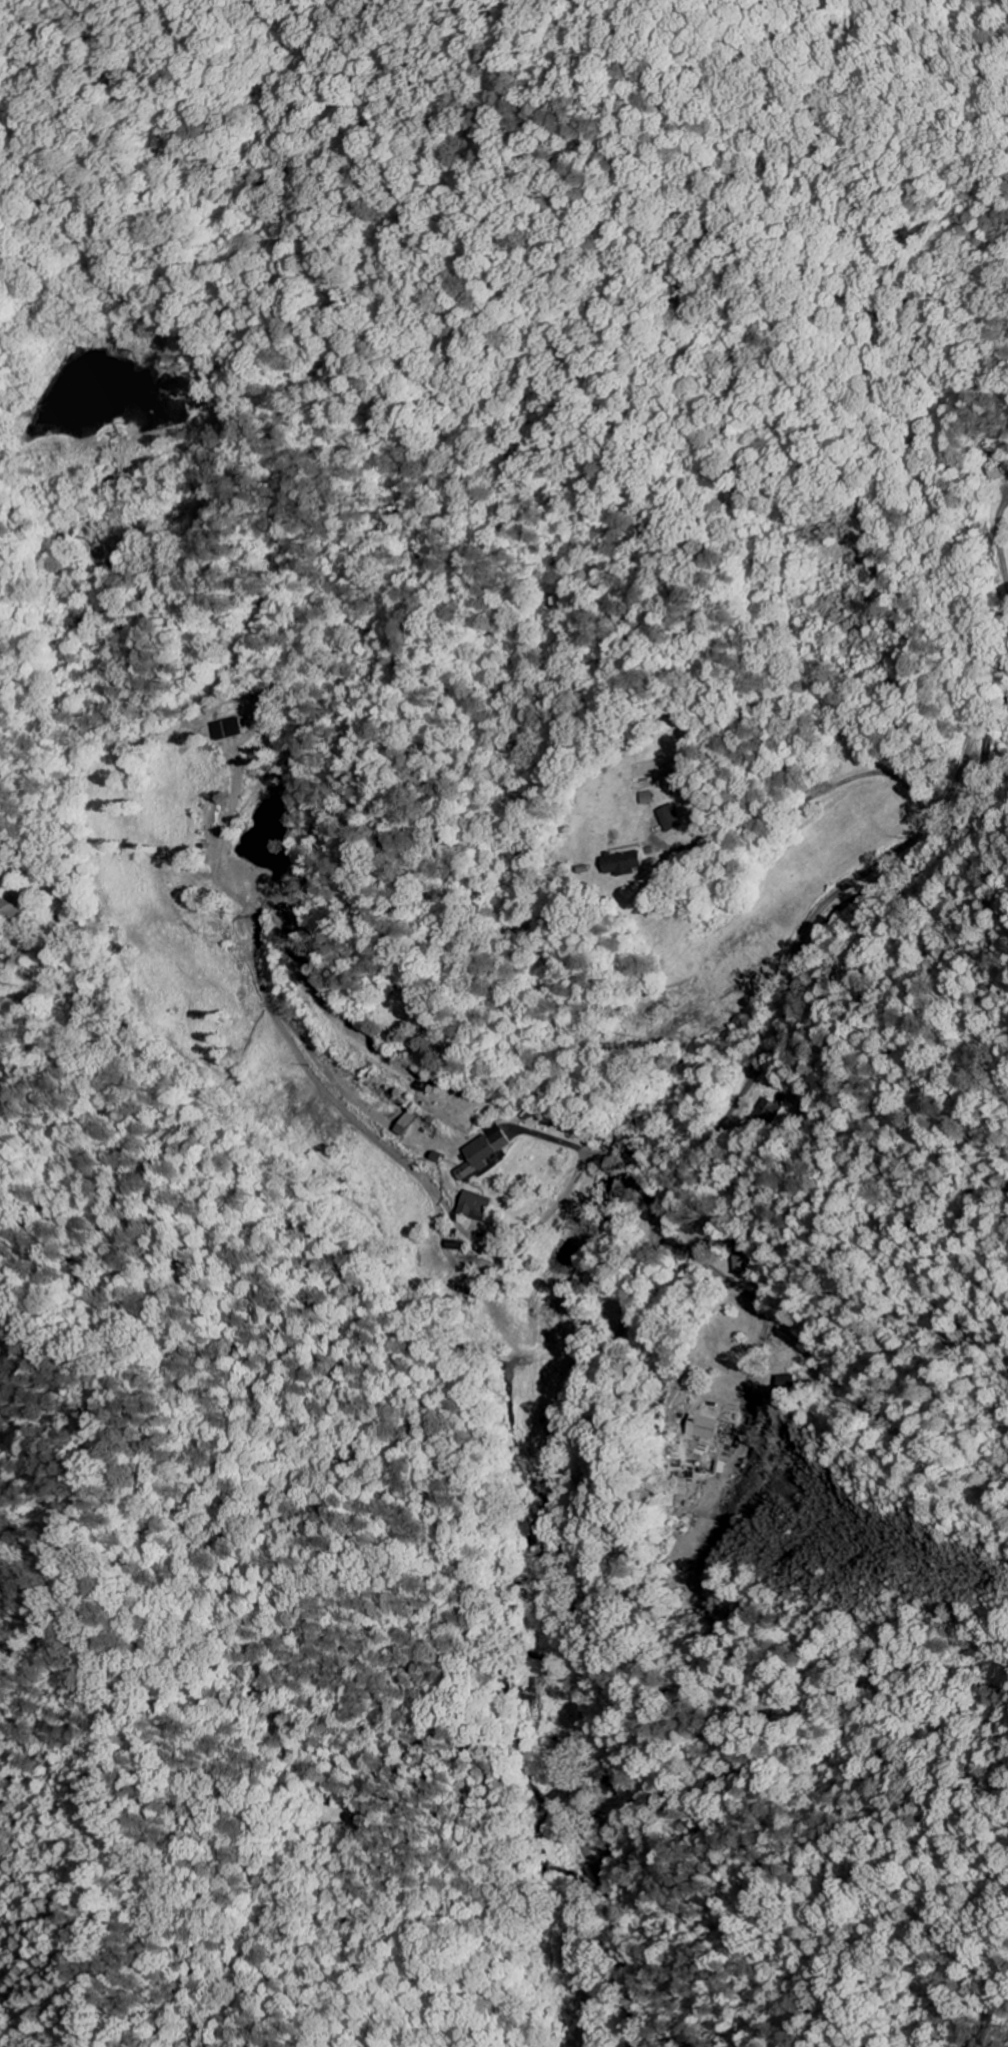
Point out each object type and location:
building: (228, 728)
building: (669, 769)
building: (646, 798)
road: (918, 809)
building: (669, 818)
building: (626, 863)
building: (9, 908)
building: (768, 1108)
building: (498, 1140)
building: (473, 1157)
road: (624, 1166)
building: (471, 1206)
building: (452, 1245)
road: (633, 1296)
building: (706, 1427)
building: (685, 1485)

